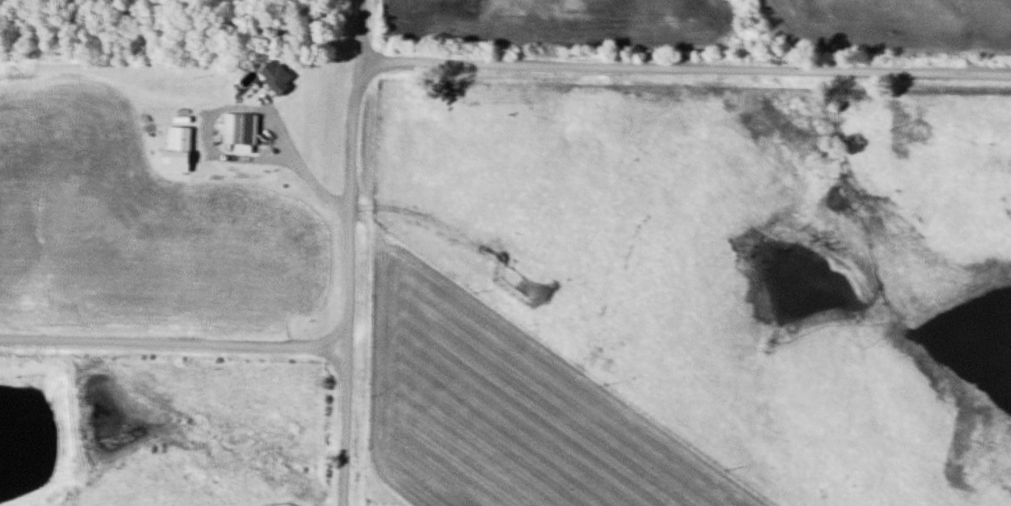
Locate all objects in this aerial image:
road: (353, 35)
road: (548, 62)
building: (278, 75)
building: (242, 131)
building: (181, 148)
road: (172, 338)
road: (342, 423)

